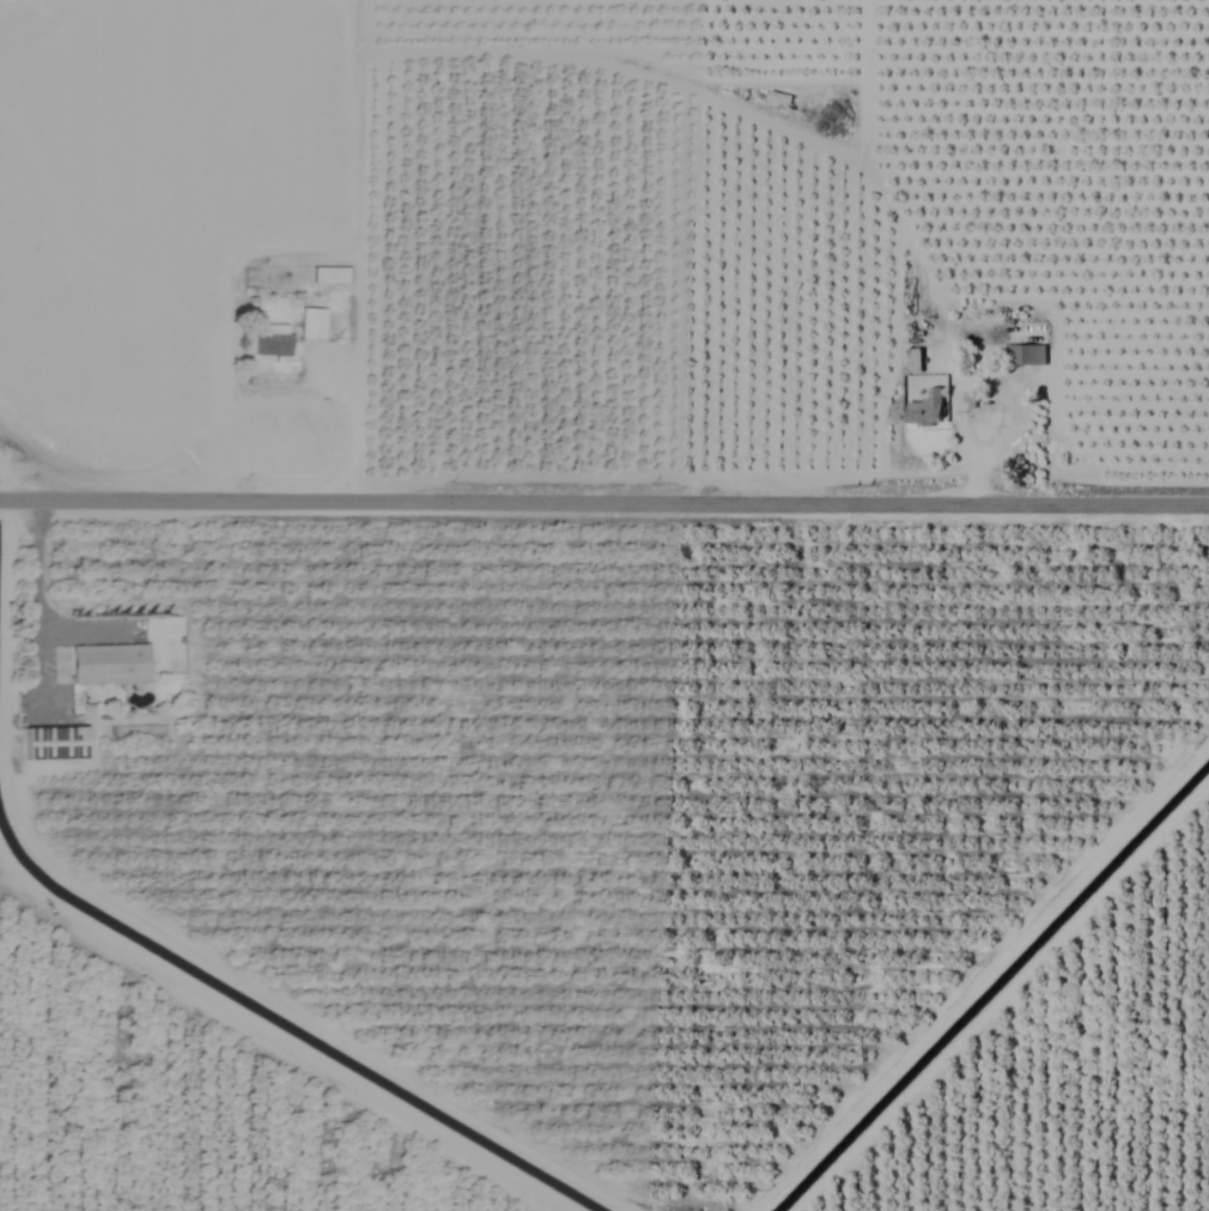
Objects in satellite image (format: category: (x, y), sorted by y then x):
building: (328, 275)
building: (310, 325)
building: (269, 341)
building: (913, 361)
building: (925, 410)
road: (357, 441)
road: (603, 509)
crop: (604, 605)
road: (40, 606)
building: (109, 665)

